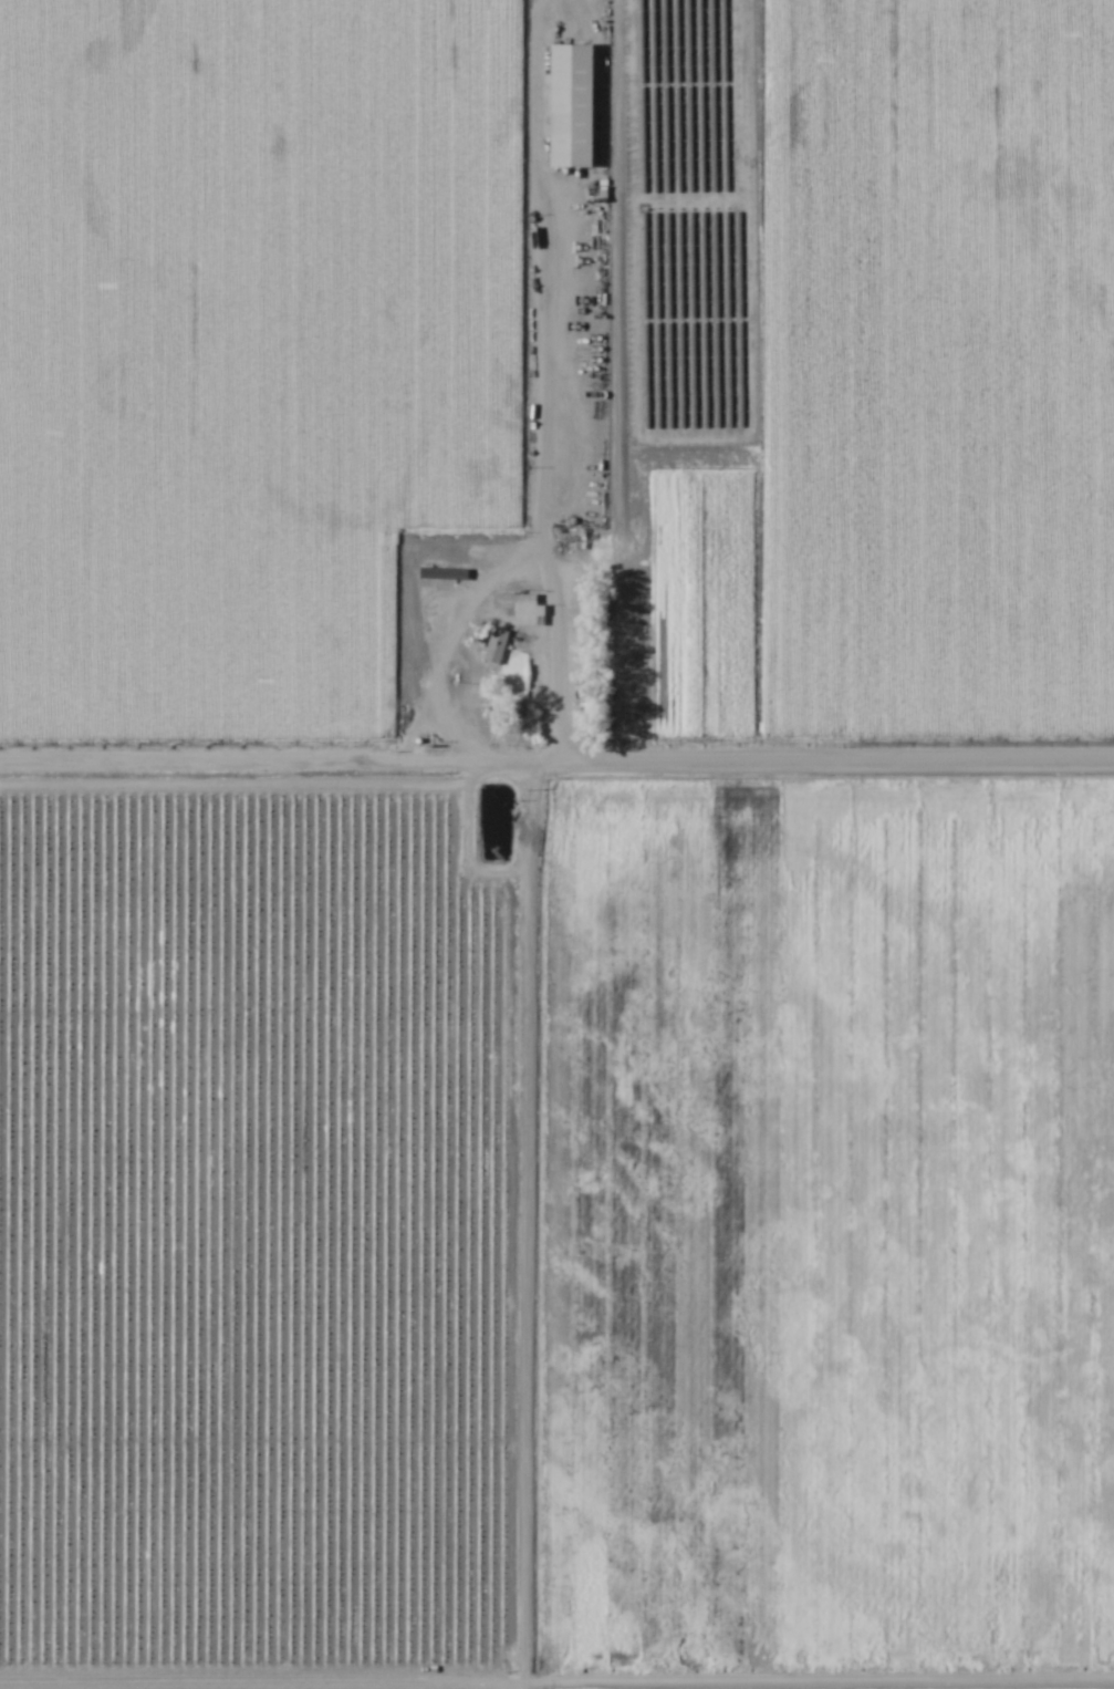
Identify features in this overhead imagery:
building: (563, 101)
building: (518, 605)
road: (556, 758)
road: (529, 843)
road: (556, 1680)

